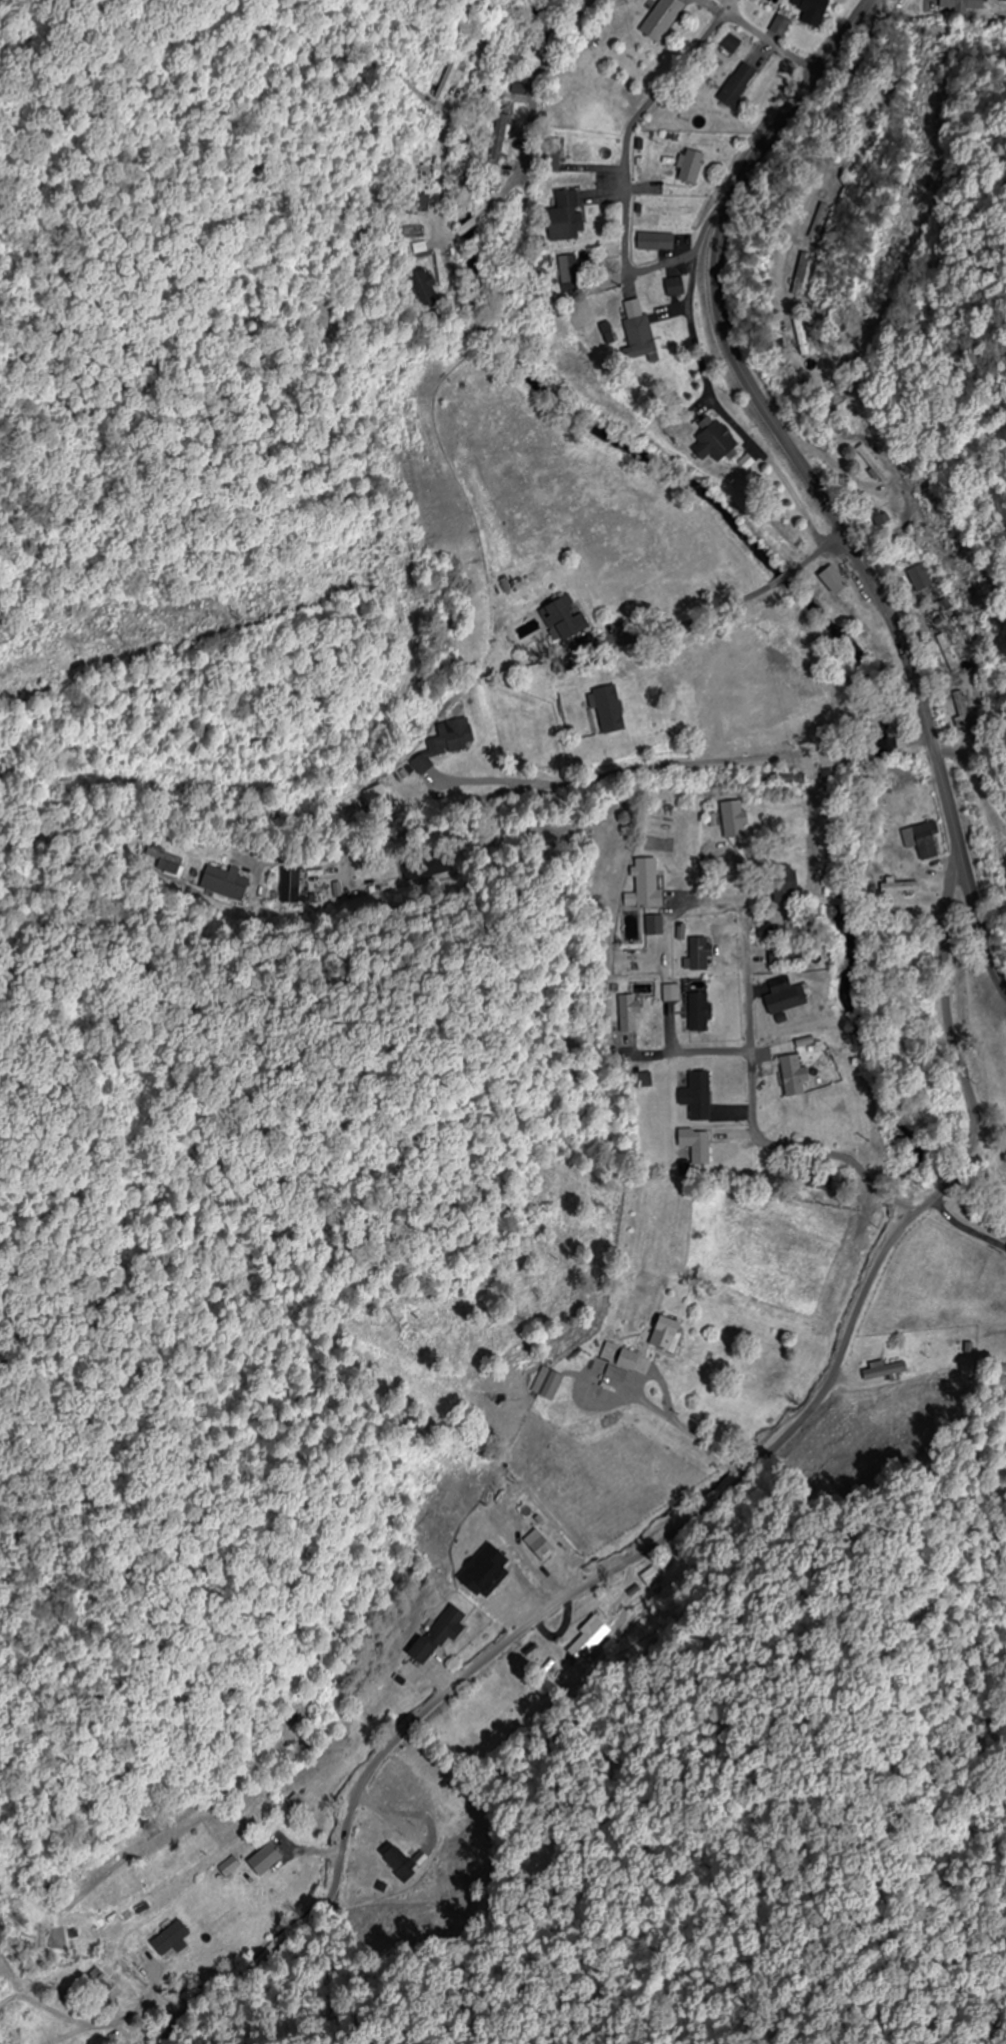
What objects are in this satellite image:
building: (962, 5)
building: (814, 11)
building: (665, 19)
building: (734, 44)
building: (452, 78)
building: (737, 81)
road: (532, 116)
road: (623, 141)
building: (687, 166)
building: (560, 217)
building: (819, 222)
building: (652, 240)
building: (565, 271)
building: (672, 287)
building: (426, 288)
building: (635, 327)
building: (712, 440)
building: (869, 463)
road: (708, 478)
road: (812, 481)
building: (875, 519)
building: (915, 578)
building: (828, 579)
building: (567, 619)
building: (953, 703)
building: (605, 709)
building: (648, 730)
building: (453, 738)
building: (778, 779)
road: (704, 787)
building: (353, 807)
building: (730, 819)
road: (983, 833)
building: (921, 840)
building: (998, 854)
road: (771, 866)
building: (650, 884)
building: (780, 885)
road: (832, 901)
road: (961, 921)
building: (696, 953)
building: (784, 956)
building: (781, 1000)
building: (695, 1012)
building: (631, 1013)
building: (789, 1075)
road: (712, 1088)
building: (696, 1096)
road: (753, 1121)
building: (695, 1143)
building: (811, 1180)
building: (671, 1334)
building: (612, 1353)
building: (628, 1365)
building: (885, 1371)
building: (551, 1383)
road: (695, 1519)
building: (542, 1545)
building: (646, 1576)
building: (435, 1645)
building: (269, 1859)
building: (396, 1859)
building: (107, 1984)

